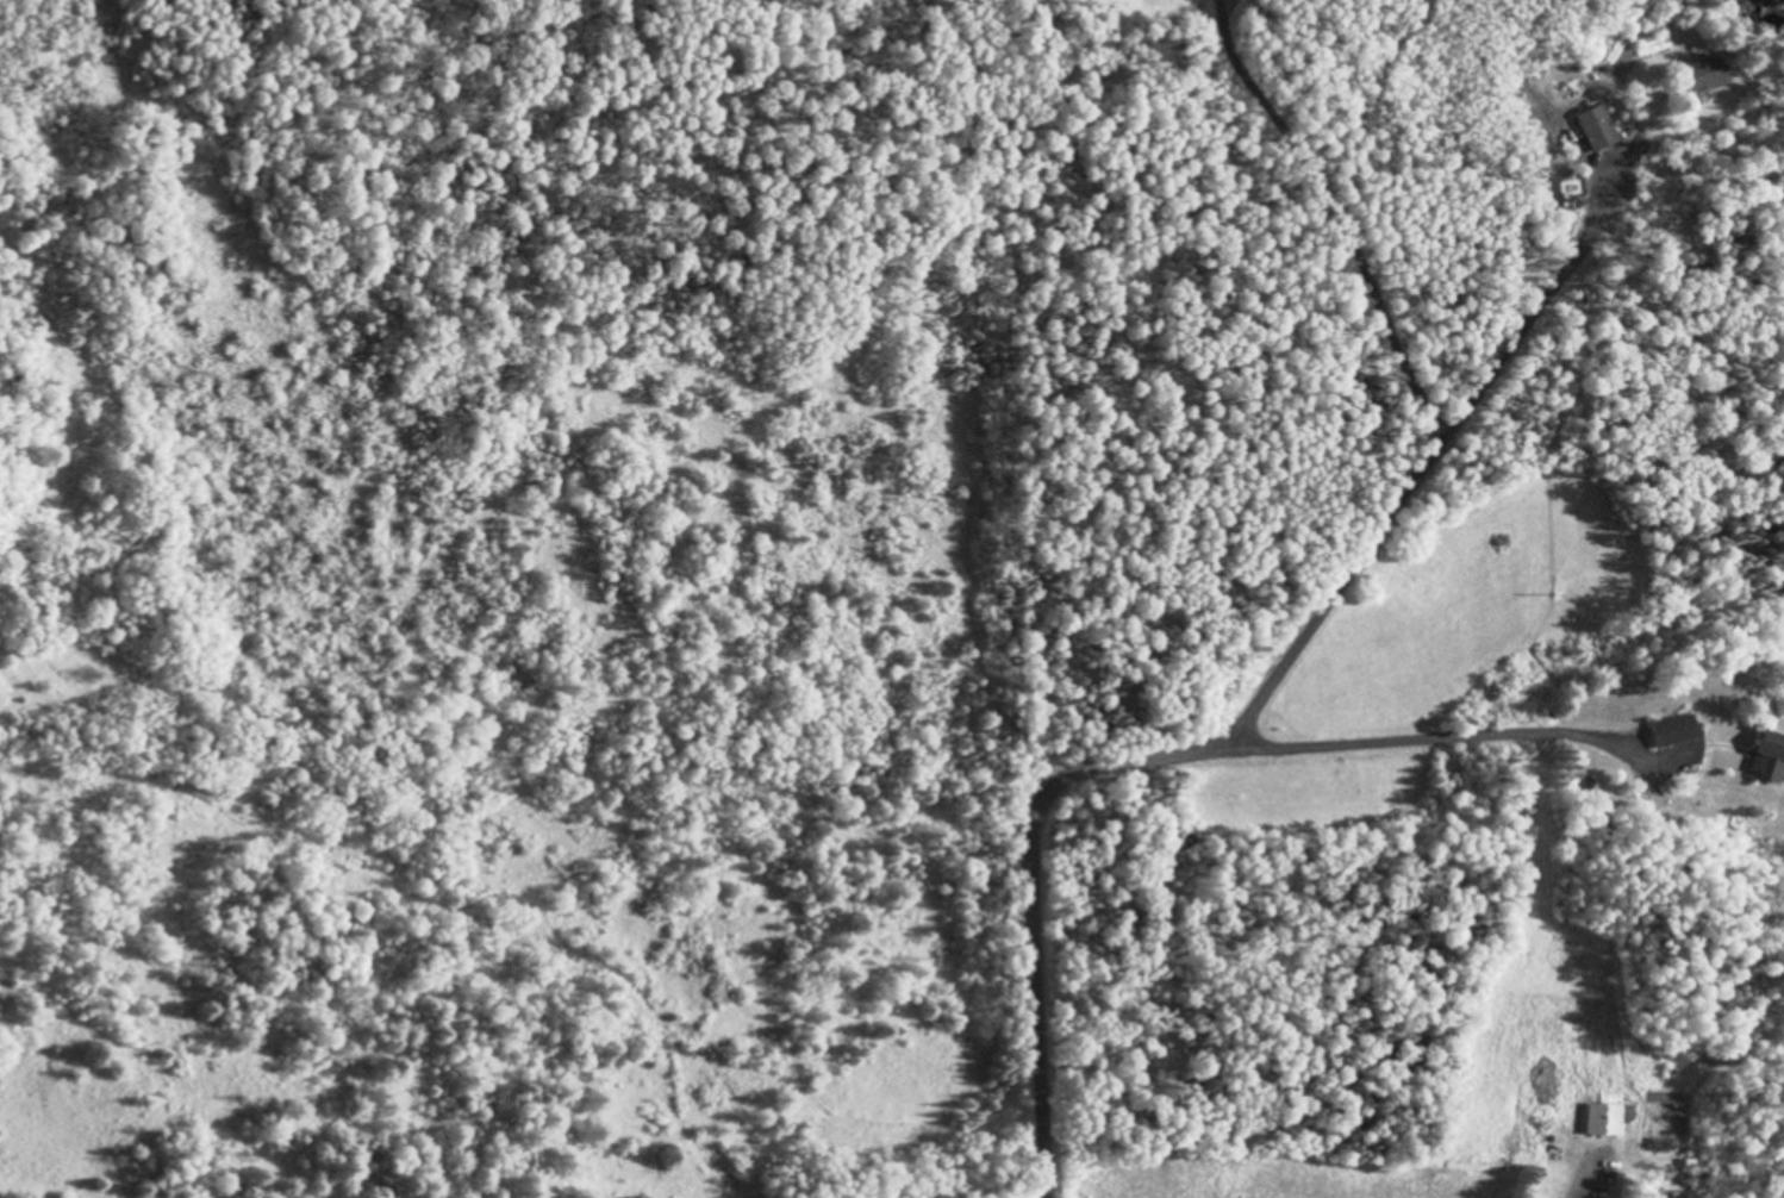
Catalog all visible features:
building: (1702, 76)
building: (1596, 131)
road: (1264, 704)
building: (1676, 731)
building: (1770, 759)
building: (1607, 1121)

